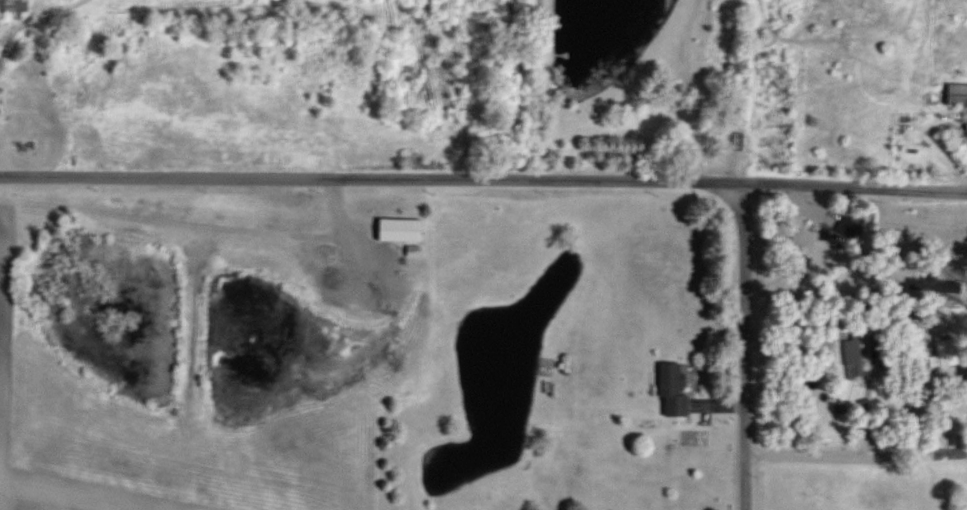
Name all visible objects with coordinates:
building: (17, 5)
road: (686, 92)
building: (959, 93)
road: (483, 184)
road: (201, 228)
building: (408, 229)
road: (744, 346)
building: (948, 352)
building: (677, 389)
road: (920, 418)

